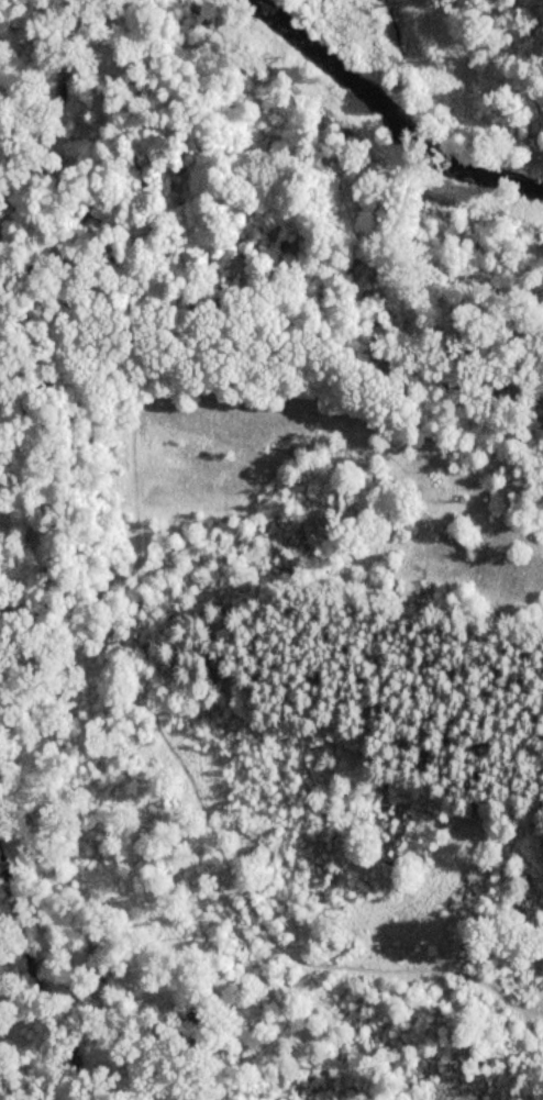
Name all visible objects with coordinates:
river: (392, 105)

